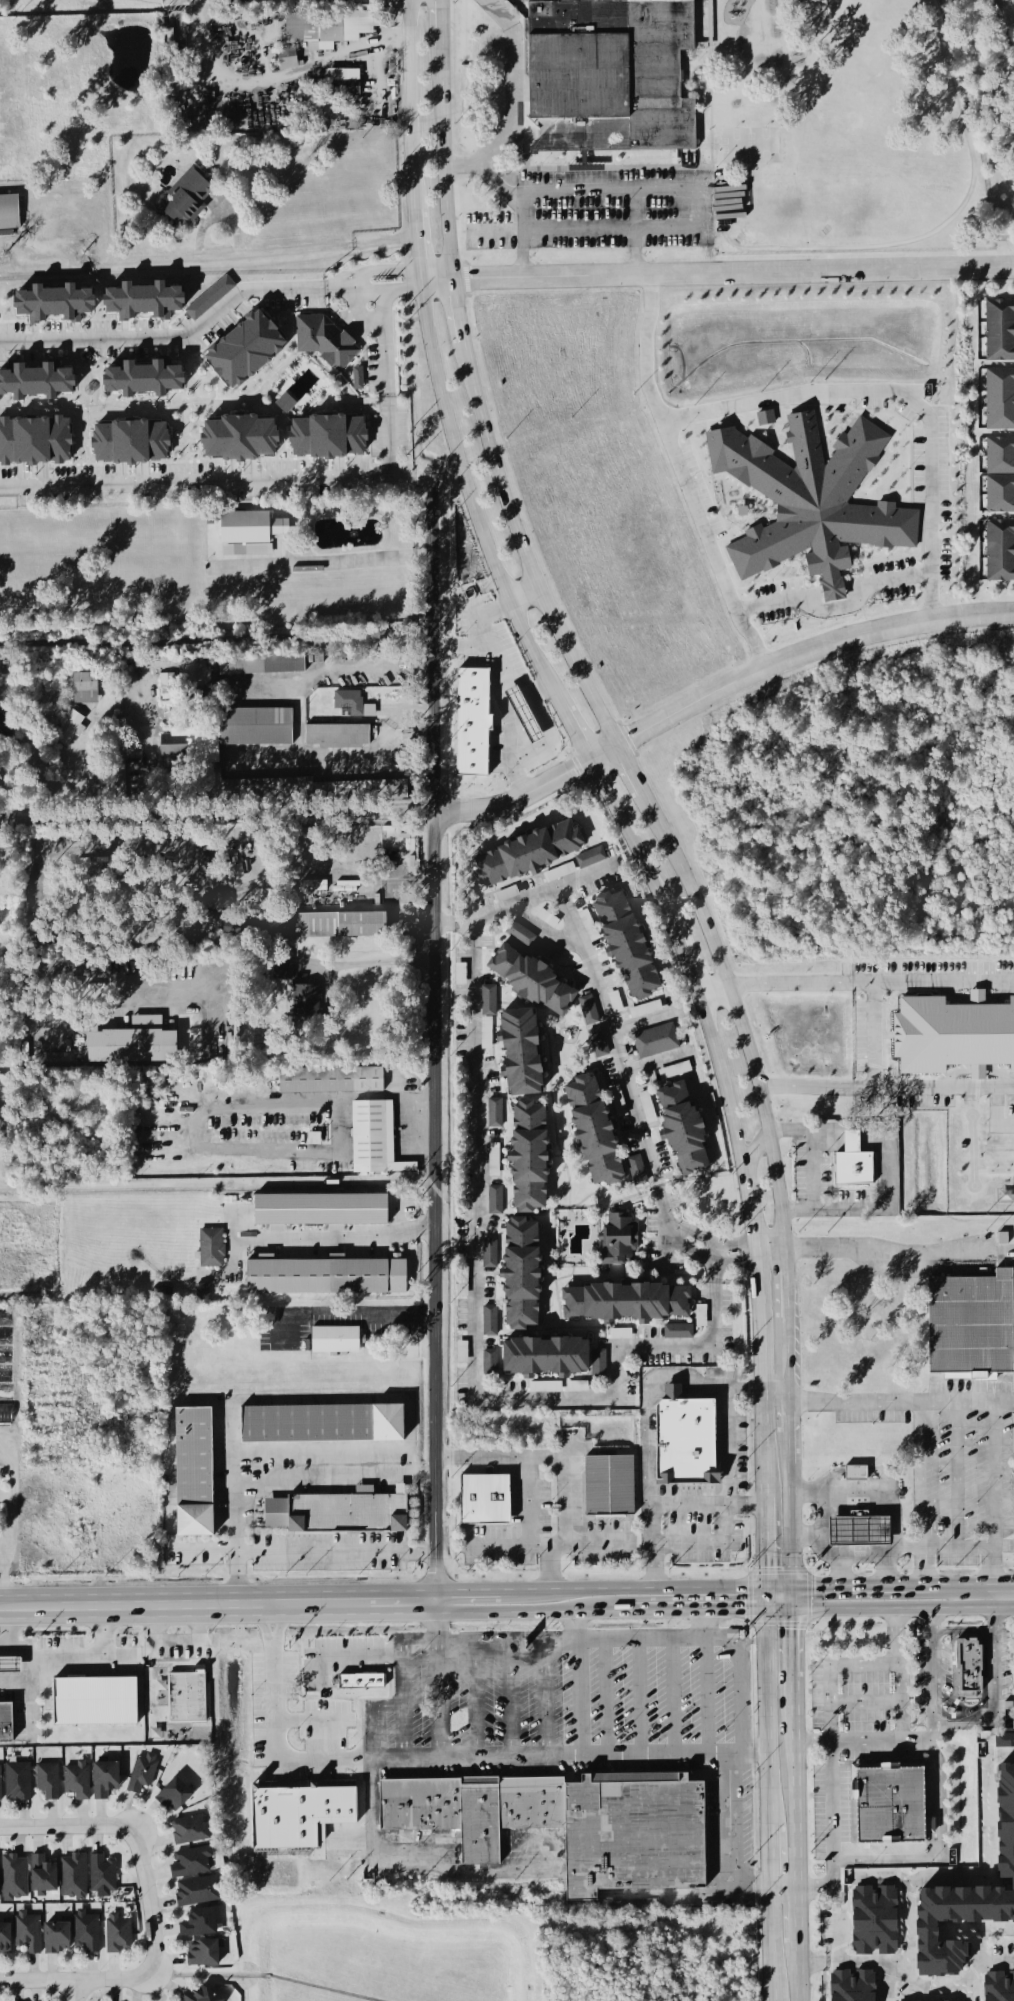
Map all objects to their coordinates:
road: (176, 17)
road: (441, 20)
building: (331, 29)
building: (289, 61)
building: (347, 75)
building: (606, 76)
road: (515, 86)
road: (412, 106)
crop: (71, 132)
road: (486, 177)
road: (709, 180)
road: (618, 193)
building: (189, 197)
road: (687, 211)
building: (10, 213)
road: (578, 230)
road: (636, 235)
road: (522, 236)
road: (419, 246)
road: (836, 251)
road: (264, 254)
road: (718, 275)
building: (165, 301)
building: (60, 304)
road: (211, 317)
building: (1000, 332)
building: (328, 342)
building: (254, 349)
building: (360, 379)
building: (150, 380)
road: (384, 382)
building: (40, 383)
road: (901, 397)
building: (1001, 400)
building: (288, 403)
road: (477, 406)
building: (768, 419)
building: (332, 438)
building: (247, 439)
building: (37, 442)
building: (135, 443)
building: (1001, 456)
road: (684, 477)
road: (217, 478)
building: (1001, 495)
building: (812, 499)
road: (469, 500)
building: (252, 534)
building: (1000, 552)
road: (328, 562)
road: (526, 599)
road: (836, 607)
road: (216, 640)
road: (464, 647)
building: (264, 666)
building: (168, 681)
building: (86, 689)
road: (541, 692)
road: (716, 693)
road: (504, 694)
building: (354, 705)
road: (544, 719)
building: (477, 724)
building: (259, 728)
road: (575, 733)
building: (340, 737)
building: (195, 745)
road: (357, 763)
road: (633, 773)
building: (312, 792)
road: (344, 812)
road: (633, 846)
building: (528, 854)
building: (592, 857)
road: (395, 886)
road: (445, 923)
building: (337, 925)
building: (524, 934)
building: (626, 946)
road: (292, 954)
road: (719, 961)
road: (684, 963)
road: (930, 980)
building: (530, 981)
road: (787, 982)
road: (599, 989)
road: (711, 989)
building: (304, 1001)
building: (490, 1001)
building: (588, 1010)
building: (954, 1034)
building: (655, 1041)
building: (137, 1043)
building: (600, 1043)
road: (434, 1046)
building: (520, 1053)
building: (679, 1070)
road: (721, 1077)
building: (334, 1081)
road: (801, 1084)
road: (930, 1084)
road: (204, 1114)
building: (495, 1114)
building: (682, 1130)
building: (593, 1131)
road: (829, 1136)
road: (872, 1136)
road: (851, 1137)
building: (377, 1140)
road: (828, 1143)
road: (851, 1143)
road: (872, 1143)
road: (756, 1146)
road: (828, 1149)
road: (851, 1150)
road: (872, 1150)
building: (528, 1158)
road: (885, 1161)
building: (852, 1163)
road: (812, 1168)
road: (775, 1170)
building: (637, 1171)
road: (218, 1181)
building: (497, 1200)
road: (749, 1207)
building: (325, 1209)
road: (673, 1230)
road: (784, 1231)
road: (339, 1238)
building: (618, 1240)
building: (213, 1248)
road: (883, 1250)
road: (719, 1252)
building: (492, 1254)
building: (521, 1275)
building: (330, 1277)
road: (787, 1285)
building: (205, 1292)
building: (625, 1304)
road: (365, 1312)
road: (474, 1319)
building: (492, 1321)
building: (970, 1326)
building: (678, 1333)
building: (337, 1340)
building: (6, 1354)
building: (544, 1358)
road: (789, 1360)
building: (492, 1364)
building: (598, 1365)
road: (758, 1376)
building: (6, 1395)
road: (771, 1396)
road: (318, 1398)
road: (957, 1401)
road: (790, 1419)
building: (321, 1425)
building: (686, 1441)
road: (790, 1451)
road: (565, 1464)
building: (193, 1473)
building: (855, 1474)
road: (959, 1474)
road: (276, 1478)
building: (613, 1486)
road: (995, 1489)
road: (881, 1493)
building: (484, 1501)
road: (706, 1503)
building: (337, 1514)
road: (526, 1514)
road: (12, 1525)
road: (791, 1525)
road: (100, 1531)
building: (858, 1532)
road: (762, 1542)
road: (829, 1545)
road: (970, 1546)
road: (3, 1552)
road: (340, 1554)
road: (862, 1559)
road: (885, 1565)
traffic signals: (764, 1586)
traffic signals: (795, 1586)
road: (881, 1586)
road: (701, 1589)
road: (537, 1591)
road: (1005, 1594)
road: (220, 1606)
road: (882, 1609)
traffic signals: (764, 1610)
traffic signals: (795, 1610)
road: (700, 1611)
road: (997, 1613)
road: (537, 1614)
road: (964, 1632)
road: (794, 1633)
road: (13, 1634)
road: (482, 1634)
road: (626, 1640)
road: (273, 1643)
road: (544, 1647)
road: (202, 1650)
road: (81, 1654)
road: (350, 1655)
building: (12, 1666)
road: (738, 1669)
building: (969, 1669)
road: (932, 1671)
building: (364, 1682)
road: (32, 1683)
road: (156, 1695)
road: (637, 1697)
road: (675, 1697)
building: (186, 1698)
road: (579, 1698)
road: (607, 1698)
building: (98, 1702)
road: (764, 1706)
road: (997, 1709)
road: (309, 1723)
building: (8, 1724)
road: (898, 1725)
road: (831, 1729)
road: (274, 1736)
road: (916, 1738)
building: (1005, 1741)
road: (456, 1757)
building: (143, 1773)
building: (104, 1779)
building: (77, 1780)
building: (47, 1781)
building: (17, 1782)
building: (1, 1785)
road: (795, 1785)
road: (936, 1792)
building: (173, 1795)
building: (888, 1804)
building: (304, 1816)
building: (1010, 1823)
building: (568, 1824)
road: (68, 1828)
building: (189, 1830)
road: (725, 1841)
road: (766, 1858)
road: (860, 1861)
building: (190, 1863)
building: (101, 1873)
building: (42, 1874)
building: (73, 1876)
road: (971, 1877)
building: (14, 1878)
building: (0, 1887)
road: (782, 1890)
building: (197, 1892)
road: (150, 1903)
road: (797, 1919)
building: (878, 1921)
building: (198, 1923)
building: (87, 1931)
building: (27, 1932)
building: (118, 1934)
building: (935, 1934)
building: (56, 1938)
building: (4, 1939)
road: (767, 1945)
building: (202, 1953)
road: (811, 1959)
road: (798, 1974)
road: (927, 1983)
road: (79, 1984)
building: (856, 1986)
building: (1001, 1987)
road: (75, 1993)
building: (200, 1995)

